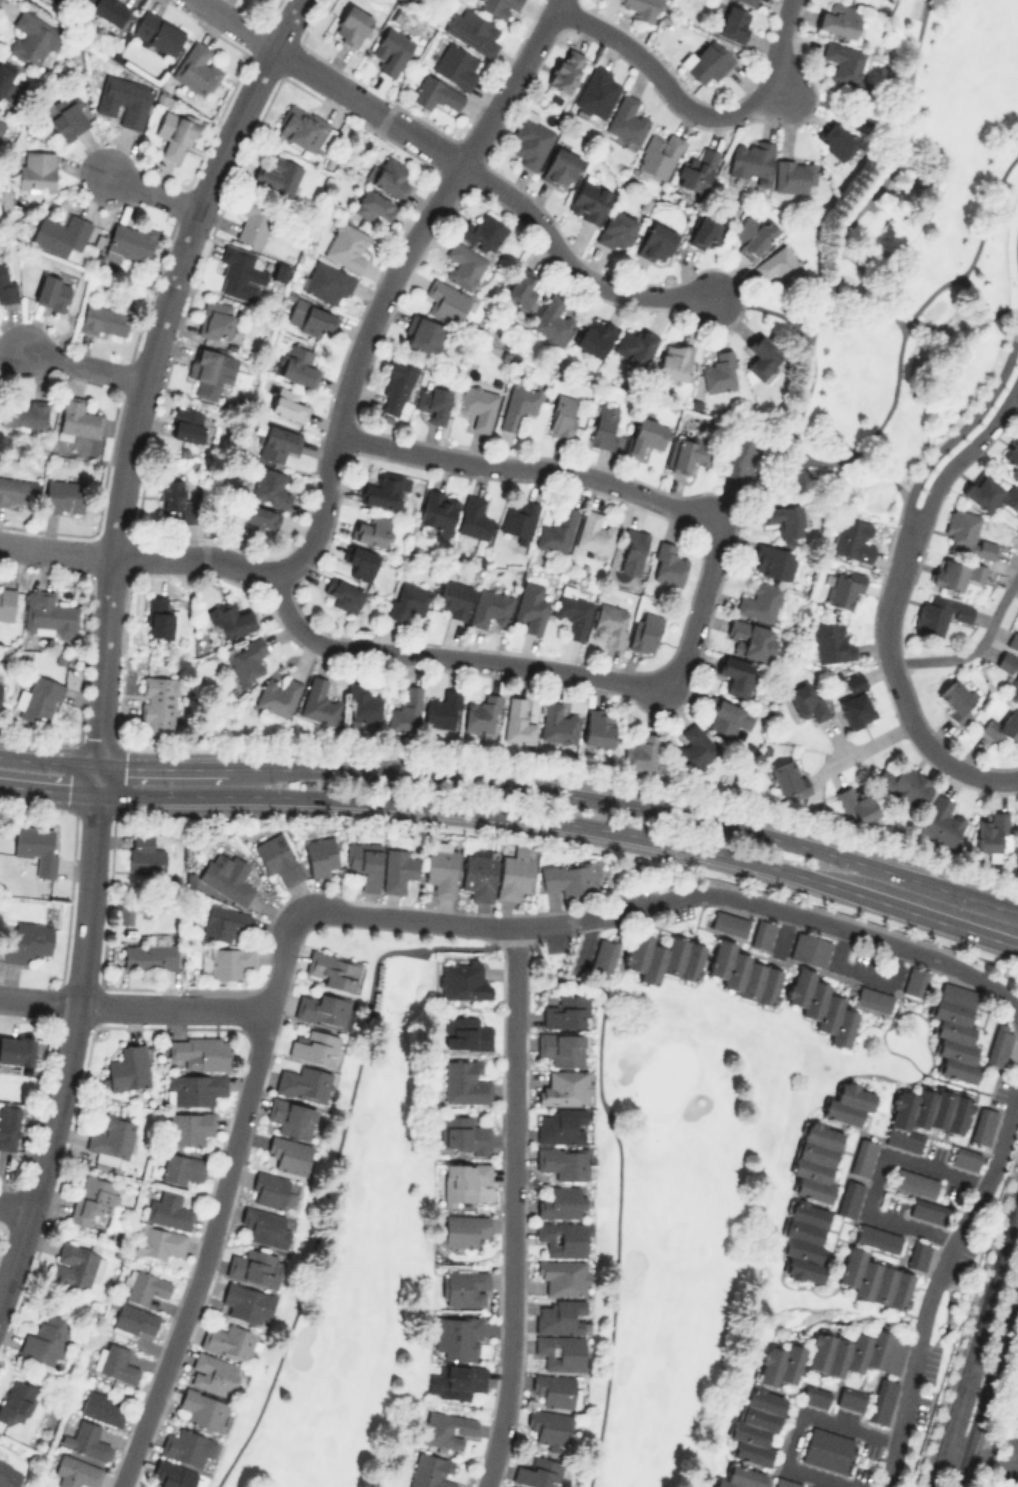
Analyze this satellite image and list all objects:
building: (747, 1)
building: (60, 2)
building: (499, 7)
building: (643, 8)
building: (106, 9)
building: (838, 19)
building: (733, 22)
road: (236, 23)
building: (351, 25)
building: (472, 30)
building: (157, 32)
building: (32, 38)
building: (391, 50)
building: (706, 61)
building: (843, 62)
building: (456, 65)
building: (196, 69)
building: (565, 69)
building: (5, 79)
building: (596, 90)
building: (435, 93)
building: (123, 100)
road: (368, 105)
road: (837, 108)
road: (696, 110)
building: (626, 119)
building: (68, 121)
building: (2, 125)
building: (301, 127)
building: (176, 137)
building: (835, 139)
building: (530, 140)
building: (659, 155)
building: (750, 159)
building: (560, 166)
building: (37, 169)
building: (696, 170)
building: (277, 175)
building: (389, 175)
building: (793, 175)
road: (877, 190)
road: (153, 192)
building: (589, 201)
building: (372, 205)
building: (253, 223)
building: (616, 228)
building: (704, 230)
building: (482, 232)
building: (60, 233)
building: (753, 236)
building: (130, 241)
building: (655, 241)
building: (346, 245)
building: (463, 264)
park: (905, 264)
road: (570, 265)
building: (780, 265)
building: (279, 271)
building: (240, 274)
road: (391, 277)
building: (327, 281)
building: (6, 286)
building: (521, 288)
building: (52, 291)
building: (445, 301)
road: (983, 306)
road: (777, 313)
building: (309, 318)
building: (552, 319)
building: (103, 320)
building: (215, 320)
road: (800, 331)
building: (421, 334)
building: (594, 336)
building: (634, 344)
building: (761, 356)
building: (674, 360)
building: (297, 364)
road: (83, 365)
road: (146, 368)
building: (210, 370)
building: (719, 371)
road: (895, 377)
building: (398, 384)
road: (808, 384)
building: (432, 402)
building: (287, 404)
building: (477, 405)
building: (518, 405)
building: (23, 414)
building: (562, 414)
building: (77, 418)
building: (186, 424)
building: (604, 425)
road: (962, 427)
building: (645, 435)
building: (277, 442)
road: (962, 453)
building: (688, 454)
building: (737, 456)
building: (1012, 458)
road: (893, 463)
building: (270, 487)
building: (382, 490)
building: (16, 491)
building: (990, 493)
building: (63, 496)
building: (176, 499)
building: (437, 510)
building: (473, 517)
building: (258, 518)
building: (518, 518)
building: (783, 519)
building: (372, 530)
building: (557, 530)
building: (594, 533)
building: (966, 533)
building: (851, 539)
building: (631, 550)
road: (138, 557)
building: (772, 561)
building: (360, 562)
building: (668, 564)
building: (954, 573)
building: (844, 590)
road: (892, 592)
building: (342, 594)
building: (453, 598)
building: (406, 599)
building: (759, 600)
building: (6, 603)
building: (489, 607)
building: (530, 607)
building: (572, 611)
building: (939, 613)
building: (47, 614)
building: (160, 618)
building: (230, 618)
building: (610, 623)
road: (693, 629)
building: (644, 631)
building: (750, 639)
building: (1013, 640)
building: (831, 642)
road: (973, 648)
building: (246, 659)
building: (736, 674)
building: (1013, 684)
building: (277, 696)
building: (39, 698)
building: (806, 700)
building: (955, 700)
building: (318, 701)
building: (856, 701)
building: (362, 702)
building: (157, 705)
building: (405, 710)
building: (442, 710)
building: (481, 713)
building: (727, 717)
building: (517, 722)
building: (558, 723)
building: (598, 727)
building: (1003, 727)
road: (928, 744)
road: (870, 745)
building: (695, 747)
building: (641, 753)
road: (49, 760)
road: (162, 766)
road: (1014, 778)
building: (788, 779)
building: (904, 784)
building: (855, 803)
road: (628, 804)
road: (517, 814)
building: (940, 821)
building: (992, 834)
building: (35, 848)
building: (144, 854)
building: (320, 855)
building: (277, 857)
building: (364, 863)
building: (397, 869)
building: (440, 870)
building: (478, 875)
building: (514, 875)
building: (567, 877)
building: (231, 882)
road: (815, 919)
road: (449, 920)
building: (223, 922)
building: (727, 922)
building: (760, 933)
building: (23, 939)
building: (808, 948)
building: (150, 956)
building: (602, 956)
building: (663, 957)
building: (229, 961)
building: (333, 969)
road: (861, 970)
building: (743, 973)
building: (461, 980)
building: (913, 980)
building: (872, 998)
road: (38, 1000)
road: (173, 1005)
building: (820, 1005)
building: (322, 1009)
building: (566, 1011)
building: (954, 1031)
building: (465, 1033)
road: (71, 1037)
building: (998, 1044)
building: (313, 1046)
building: (561, 1048)
building: (15, 1049)
building: (201, 1052)
building: (128, 1068)
building: (464, 1082)
building: (303, 1083)
building: (565, 1087)
building: (194, 1088)
building: (847, 1104)
building: (925, 1115)
building: (290, 1117)
building: (982, 1124)
building: (9, 1125)
building: (562, 1126)
building: (189, 1127)
building: (461, 1133)
building: (111, 1137)
building: (289, 1154)
building: (861, 1156)
building: (965, 1157)
building: (563, 1161)
building: (815, 1161)
road: (334, 1162)
building: (181, 1167)
road: (880, 1176)
building: (464, 1179)
building: (914, 1182)
road: (618, 1183)
building: (269, 1189)
building: (849, 1197)
building: (93, 1200)
road: (219, 1202)
building: (561, 1202)
road: (15, 1203)
road: (510, 1207)
building: (168, 1210)
building: (927, 1210)
park: (683, 1213)
building: (264, 1226)
building: (461, 1229)
building: (875, 1237)
building: (561, 1238)
building: (804, 1240)
building: (159, 1241)
park: (357, 1245)
building: (917, 1253)
building: (75, 1265)
building: (255, 1267)
building: (563, 1276)
building: (874, 1279)
road: (934, 1281)
building: (144, 1286)
building: (464, 1287)
building: (246, 1302)
building: (560, 1316)
building: (135, 1320)
building: (456, 1336)
building: (46, 1340)
building: (230, 1341)
road: (973, 1343)
building: (560, 1352)
building: (856, 1352)
building: (115, 1362)
building: (780, 1364)
building: (213, 1374)
building: (459, 1380)
road: (987, 1386)
building: (555, 1389)
building: (815, 1395)
building: (850, 1398)
building: (881, 1399)
building: (15, 1401)
building: (101, 1407)
building: (202, 1408)
building: (1015, 1414)
building: (756, 1424)
building: (549, 1426)
road: (796, 1427)
building: (447, 1429)
building: (88, 1439)
building: (184, 1446)
building: (826, 1449)
road: (978, 1456)
building: (430, 1471)
building: (75, 1472)
building: (537, 1472)
building: (172, 1474)
building: (8, 1475)
building: (741, 1477)
building: (783, 1482)
building: (509, 1486)
building: (810, 1486)

